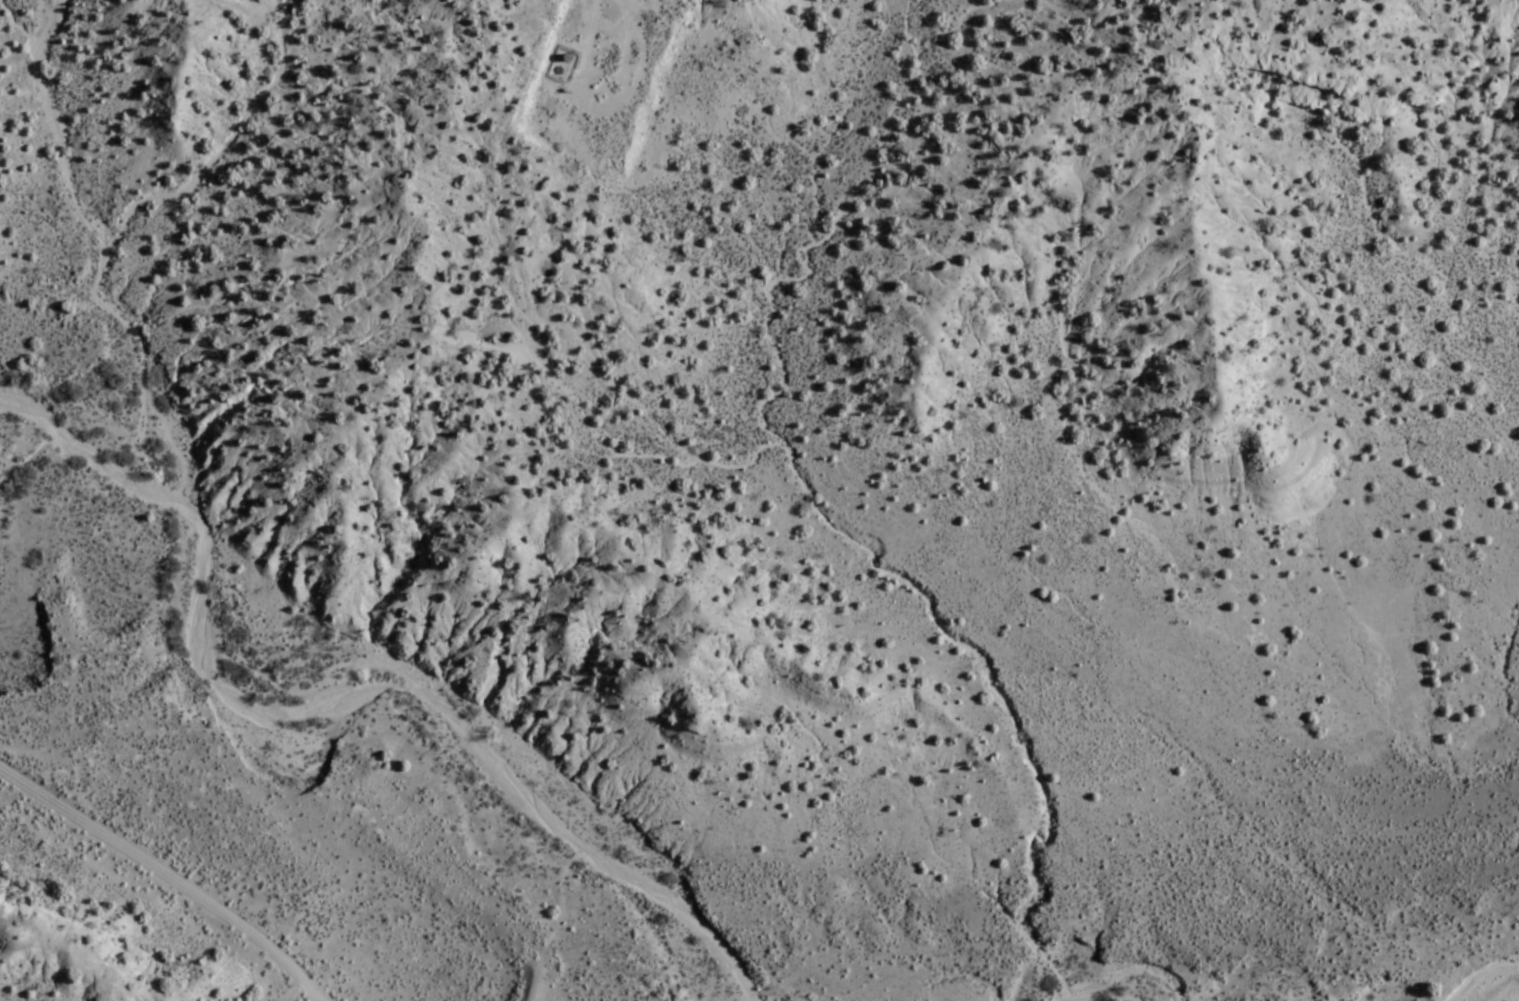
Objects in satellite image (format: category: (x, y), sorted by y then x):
river: (277, 695)
road: (165, 877)

